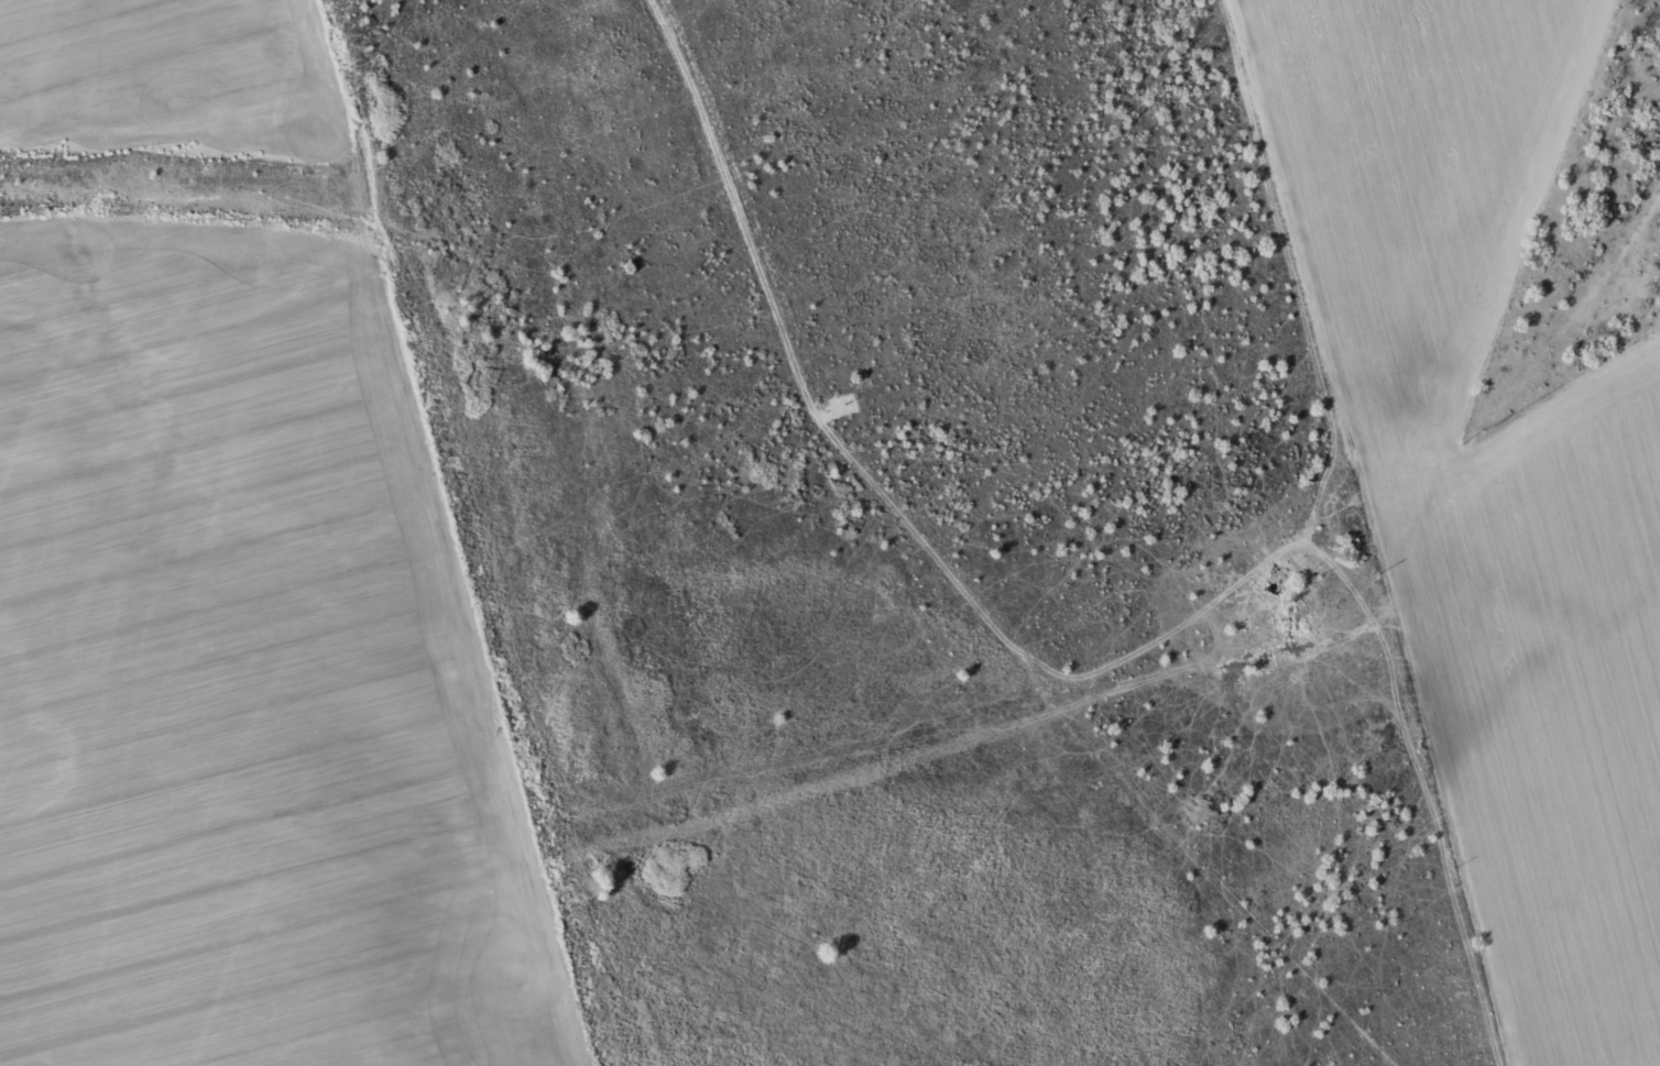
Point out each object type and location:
road: (1300, 216)

